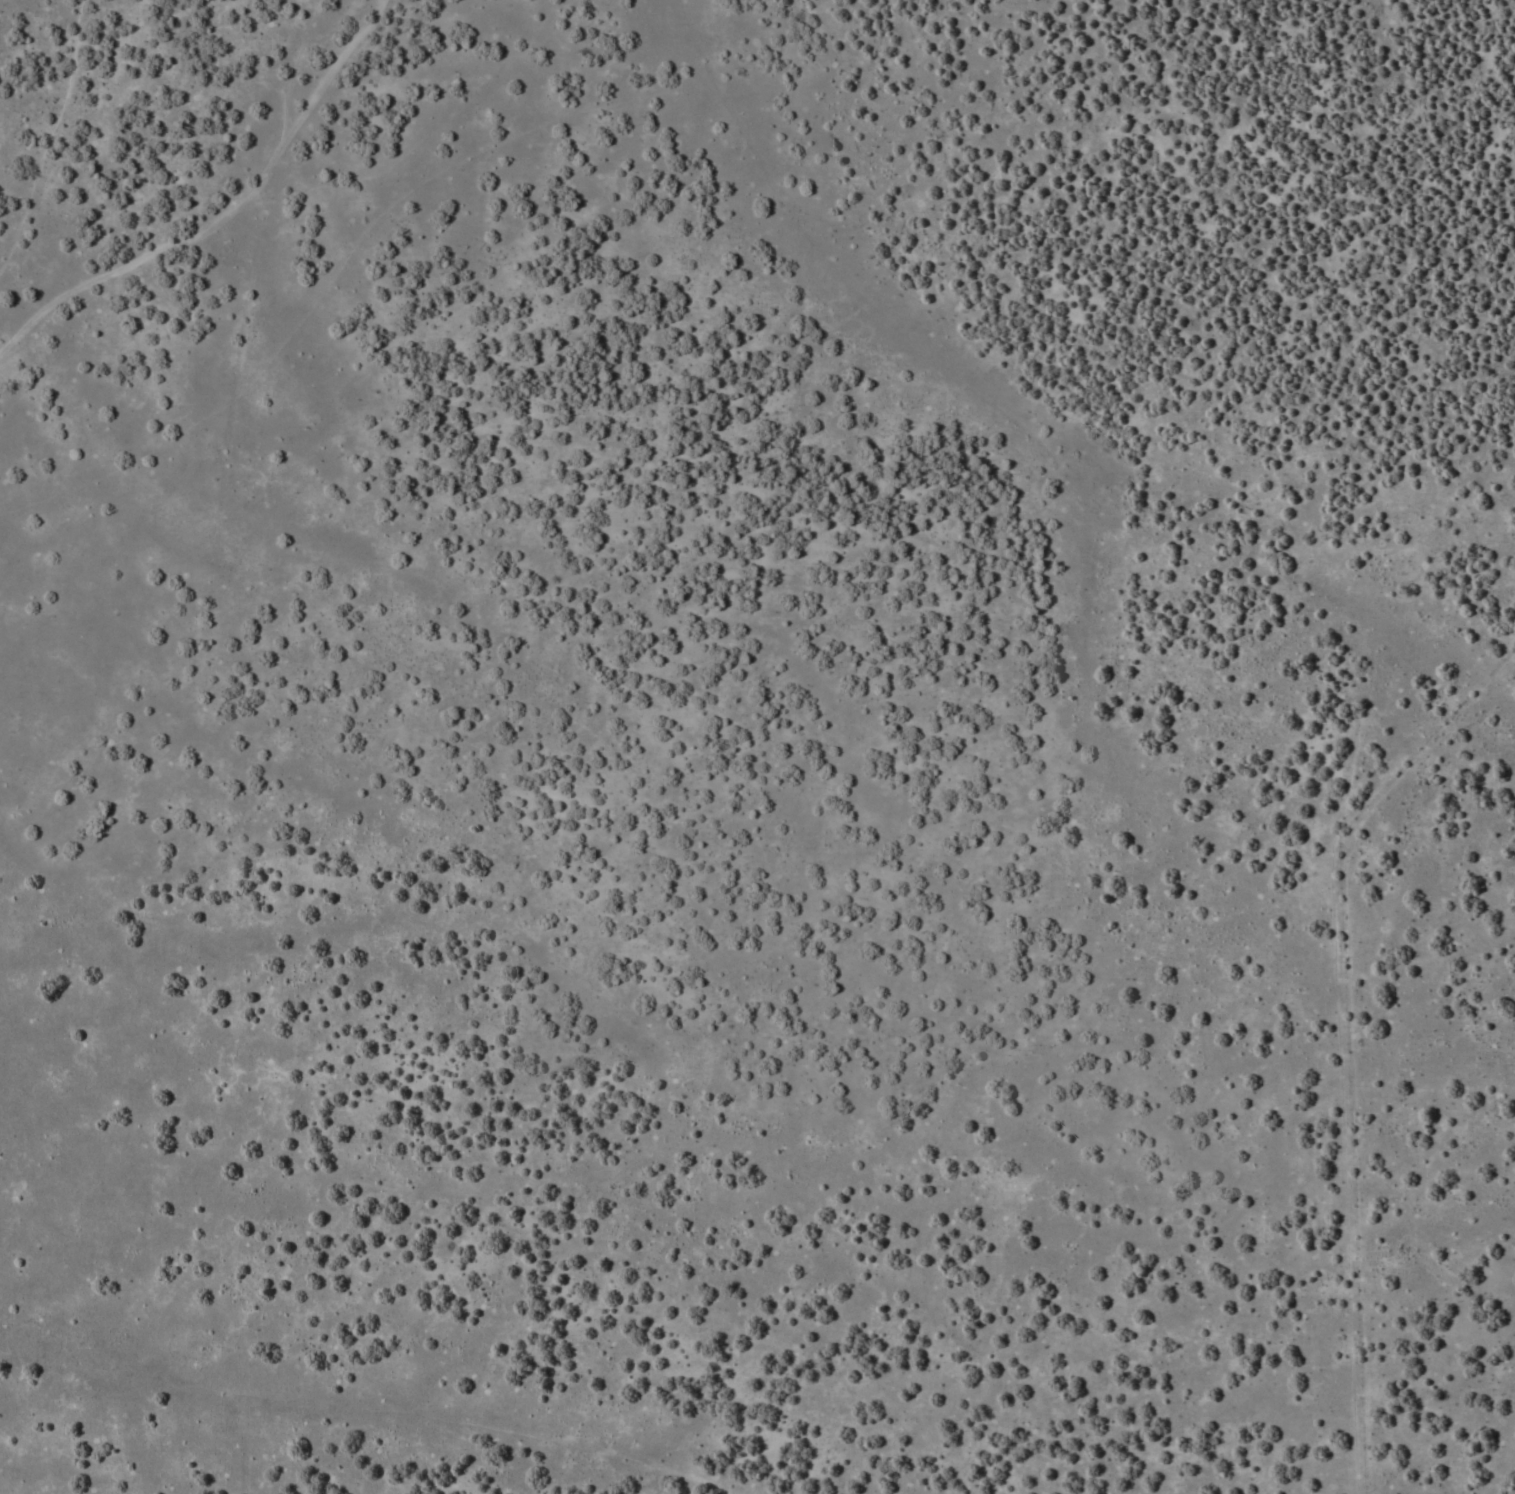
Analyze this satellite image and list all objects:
road: (235, 220)

